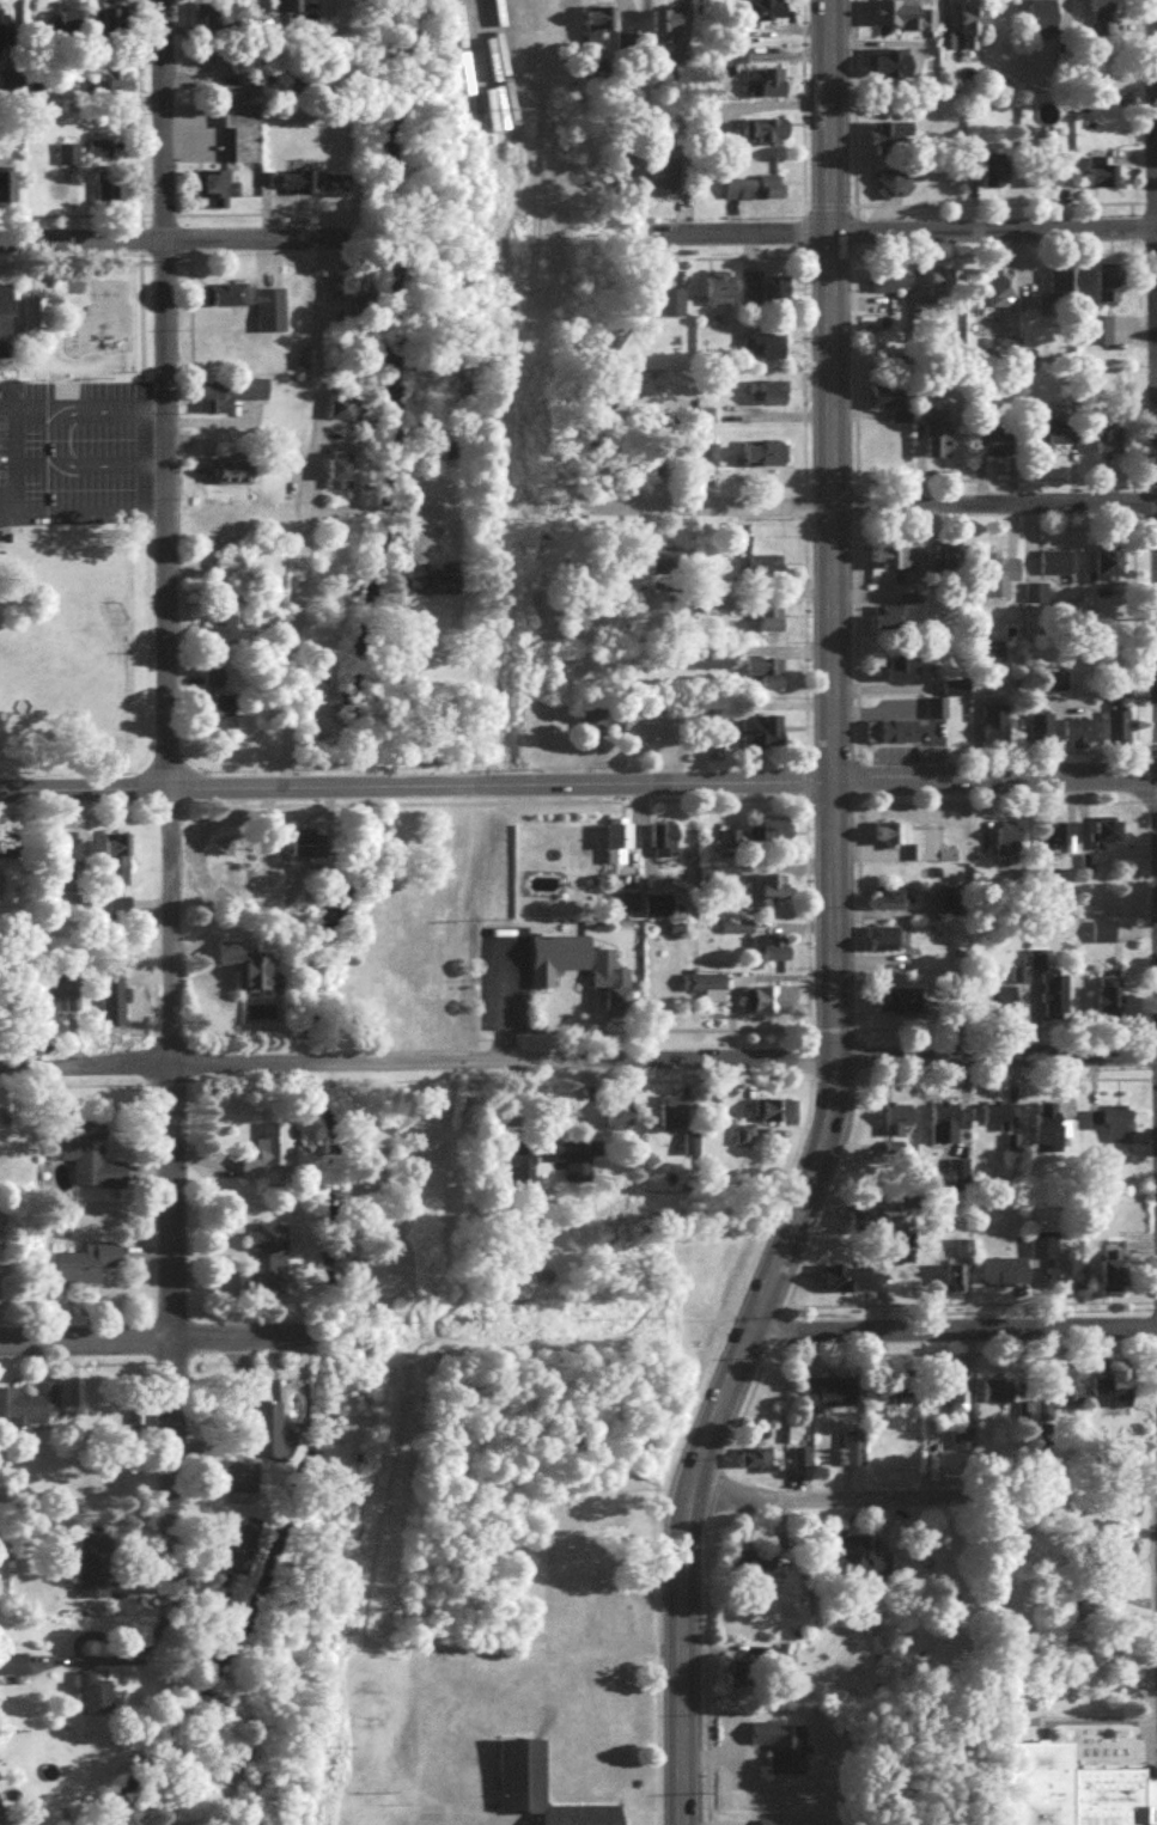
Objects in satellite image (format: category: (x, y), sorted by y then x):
building: (771, 14)
building: (288, 18)
building: (902, 19)
building: (1102, 20)
building: (220, 22)
building: (1043, 22)
building: (120, 25)
building: (974, 28)
building: (598, 29)
building: (666, 30)
building: (4, 36)
building: (948, 47)
building: (890, 69)
building: (763, 87)
building: (114, 90)
building: (8, 92)
road: (1155, 115)
building: (767, 135)
building: (245, 136)
building: (895, 141)
building: (97, 152)
building: (68, 158)
building: (997, 170)
building: (663, 178)
building: (1102, 178)
building: (894, 185)
building: (313, 188)
building: (109, 193)
building: (218, 193)
building: (754, 193)
building: (6, 194)
road: (900, 233)
road: (151, 243)
building: (300, 283)
building: (890, 287)
building: (1062, 287)
building: (1110, 291)
building: (951, 292)
building: (341, 293)
building: (1001, 293)
building: (719, 294)
building: (767, 294)
building: (229, 304)
building: (671, 309)
building: (37, 317)
building: (1121, 326)
building: (5, 328)
building: (766, 352)
building: (229, 399)
building: (774, 399)
building: (885, 404)
road: (102, 409)
building: (348, 415)
building: (1064, 438)
road: (11, 439)
building: (1112, 446)
building: (938, 448)
building: (1000, 450)
building: (766, 460)
road: (102, 466)
building: (237, 477)
building: (341, 480)
road: (10, 487)
road: (357, 506)
road: (412, 506)
road: (81, 507)
road: (875, 511)
road: (309, 518)
road: (427, 519)
road: (828, 526)
building: (897, 562)
building: (998, 564)
building: (670, 568)
building: (1055, 569)
building: (230, 570)
building: (1110, 570)
building: (768, 572)
building: (433, 588)
building: (1037, 599)
building: (768, 619)
building: (889, 622)
building: (221, 634)
building: (991, 660)
building: (708, 664)
building: (902, 673)
building: (766, 680)
building: (213, 684)
building: (956, 695)
building: (223, 712)
building: (647, 728)
building: (995, 731)
building: (1121, 733)
building: (1043, 736)
building: (894, 737)
building: (762, 738)
building: (1082, 739)
road: (578, 788)
road: (164, 789)
building: (779, 835)
building: (1055, 844)
building: (915, 846)
building: (666, 847)
building: (620, 848)
building: (300, 850)
building: (0, 859)
building: (67, 859)
building: (116, 860)
building: (0, 890)
building: (769, 896)
building: (895, 903)
building: (627, 907)
building: (1103, 938)
building: (885, 944)
building: (772, 954)
building: (1035, 966)
building: (249, 971)
building: (581, 973)
building: (706, 991)
building: (60, 1000)
building: (1054, 1000)
building: (1110, 1000)
building: (773, 1006)
building: (900, 1007)
building: (1003, 1007)
road: (994, 1054)
road: (500, 1058)
road: (84, 1064)
building: (621, 1118)
building: (779, 1118)
building: (674, 1119)
building: (997, 1121)
building: (897, 1127)
building: (948, 1129)
building: (1114, 1130)
building: (1048, 1140)
building: (745, 1141)
building: (273, 1150)
building: (690, 1150)
building: (573, 1164)
building: (92, 1166)
building: (520, 1170)
building: (858, 1229)
building: (266, 1268)
building: (86, 1269)
building: (1058, 1269)
building: (1114, 1270)
building: (1004, 1278)
building: (955, 1283)
building: (851, 1284)
road: (766, 1295)
road: (952, 1333)
road: (166, 1341)
building: (1071, 1392)
building: (1114, 1394)
building: (997, 1397)
building: (829, 1398)
building: (907, 1400)
building: (29, 1411)
building: (1043, 1412)
building: (962, 1446)
building: (855, 1454)
building: (255, 1455)
building: (756, 1465)
building: (800, 1465)
road: (921, 1502)
building: (237, 1550)
building: (860, 1561)
building: (751, 1568)
building: (91, 1580)
road: (1146, 1622)
road: (129, 1658)
building: (12, 1671)
road: (683, 1679)
parking lot: (1153, 1699)
building: (95, 1702)
road: (1036, 1732)
building: (784, 1752)
building: (1071, 1787)
building: (537, 1790)
road: (436, 1817)
building: (2, 1818)

